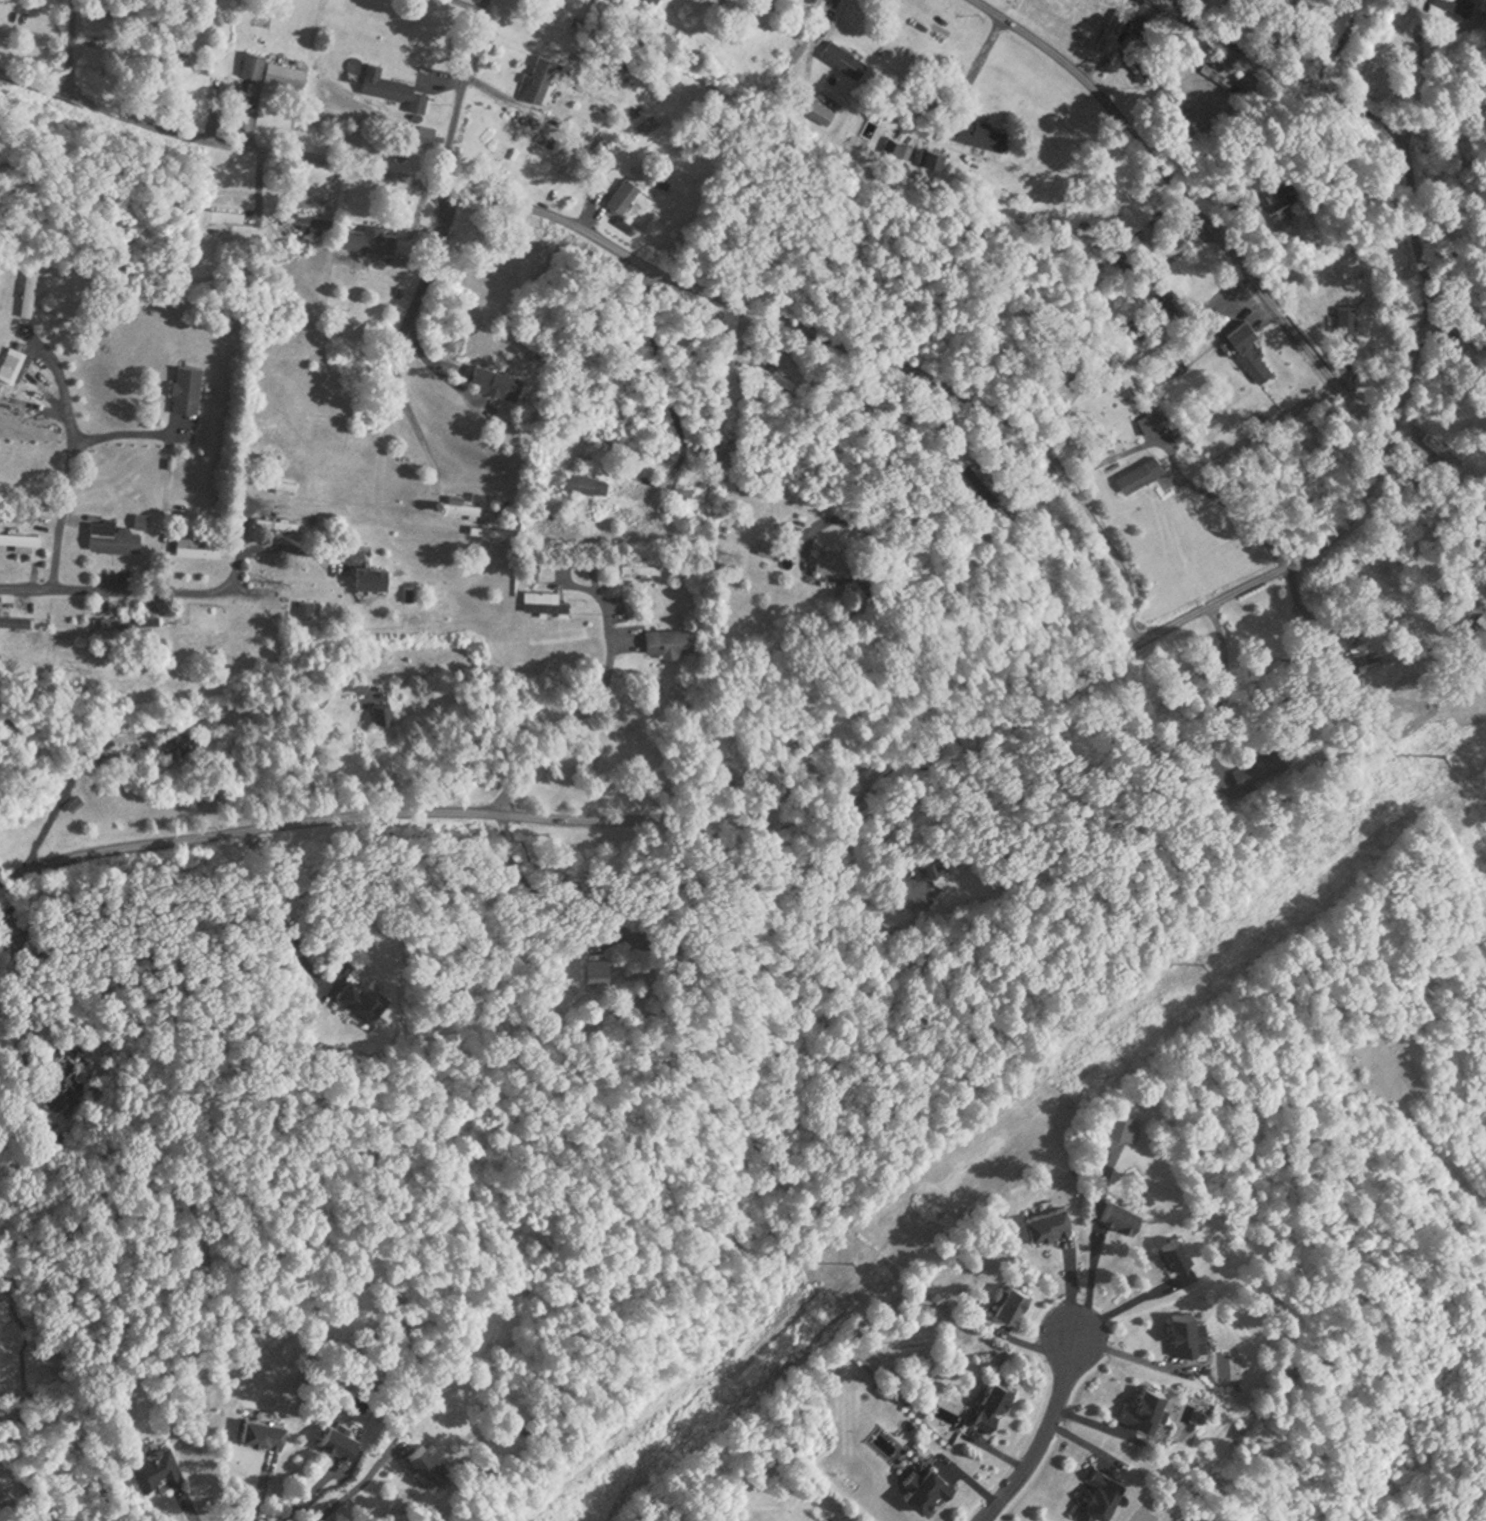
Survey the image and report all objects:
building: (1350, 1)
building: (655, 2)
road: (469, 5)
building: (1463, 5)
building: (1485, 7)
road: (823, 19)
building: (1123, 32)
building: (841, 57)
building: (198, 62)
building: (276, 70)
building: (1223, 74)
building: (543, 79)
road: (36, 81)
building: (395, 88)
road: (462, 93)
road: (1379, 119)
building: (978, 132)
building: (906, 149)
building: (626, 195)
road: (1195, 206)
building: (223, 215)
building: (1286, 218)
building: (303, 227)
building: (374, 239)
road: (633, 252)
building: (32, 292)
building: (1351, 316)
road: (396, 349)
building: (1252, 350)
building: (13, 364)
road: (435, 366)
building: (775, 376)
building: (500, 380)
building: (190, 388)
road: (415, 417)
building: (1154, 422)
road: (126, 429)
building: (599, 430)
road: (890, 437)
building: (1445, 448)
road: (73, 465)
building: (1143, 474)
building: (277, 483)
building: (590, 483)
building: (686, 494)
building: (463, 505)
road: (1240, 507)
road: (242, 528)
building: (116, 539)
building: (20, 541)
building: (196, 548)
building: (836, 561)
building: (644, 568)
building: (461, 570)
building: (375, 575)
road: (117, 587)
building: (547, 601)
building: (307, 609)
road: (1304, 615)
building: (16, 619)
building: (131, 620)
building: (674, 641)
building: (1376, 657)
road: (1217, 694)
road: (587, 703)
building: (385, 711)
road: (306, 733)
building: (127, 742)
building: (172, 743)
power tower: (1445, 758)
building: (1263, 765)
road: (815, 778)
road: (537, 898)
road: (280, 910)
power tower: (1202, 964)
road: (21, 1012)
road: (27, 1072)
power tower: (853, 1264)
road: (1089, 1276)
road: (1068, 1283)
road: (1120, 1304)
road: (1132, 1357)
road: (1041, 1432)
road: (360, 1481)
road: (310, 1496)

